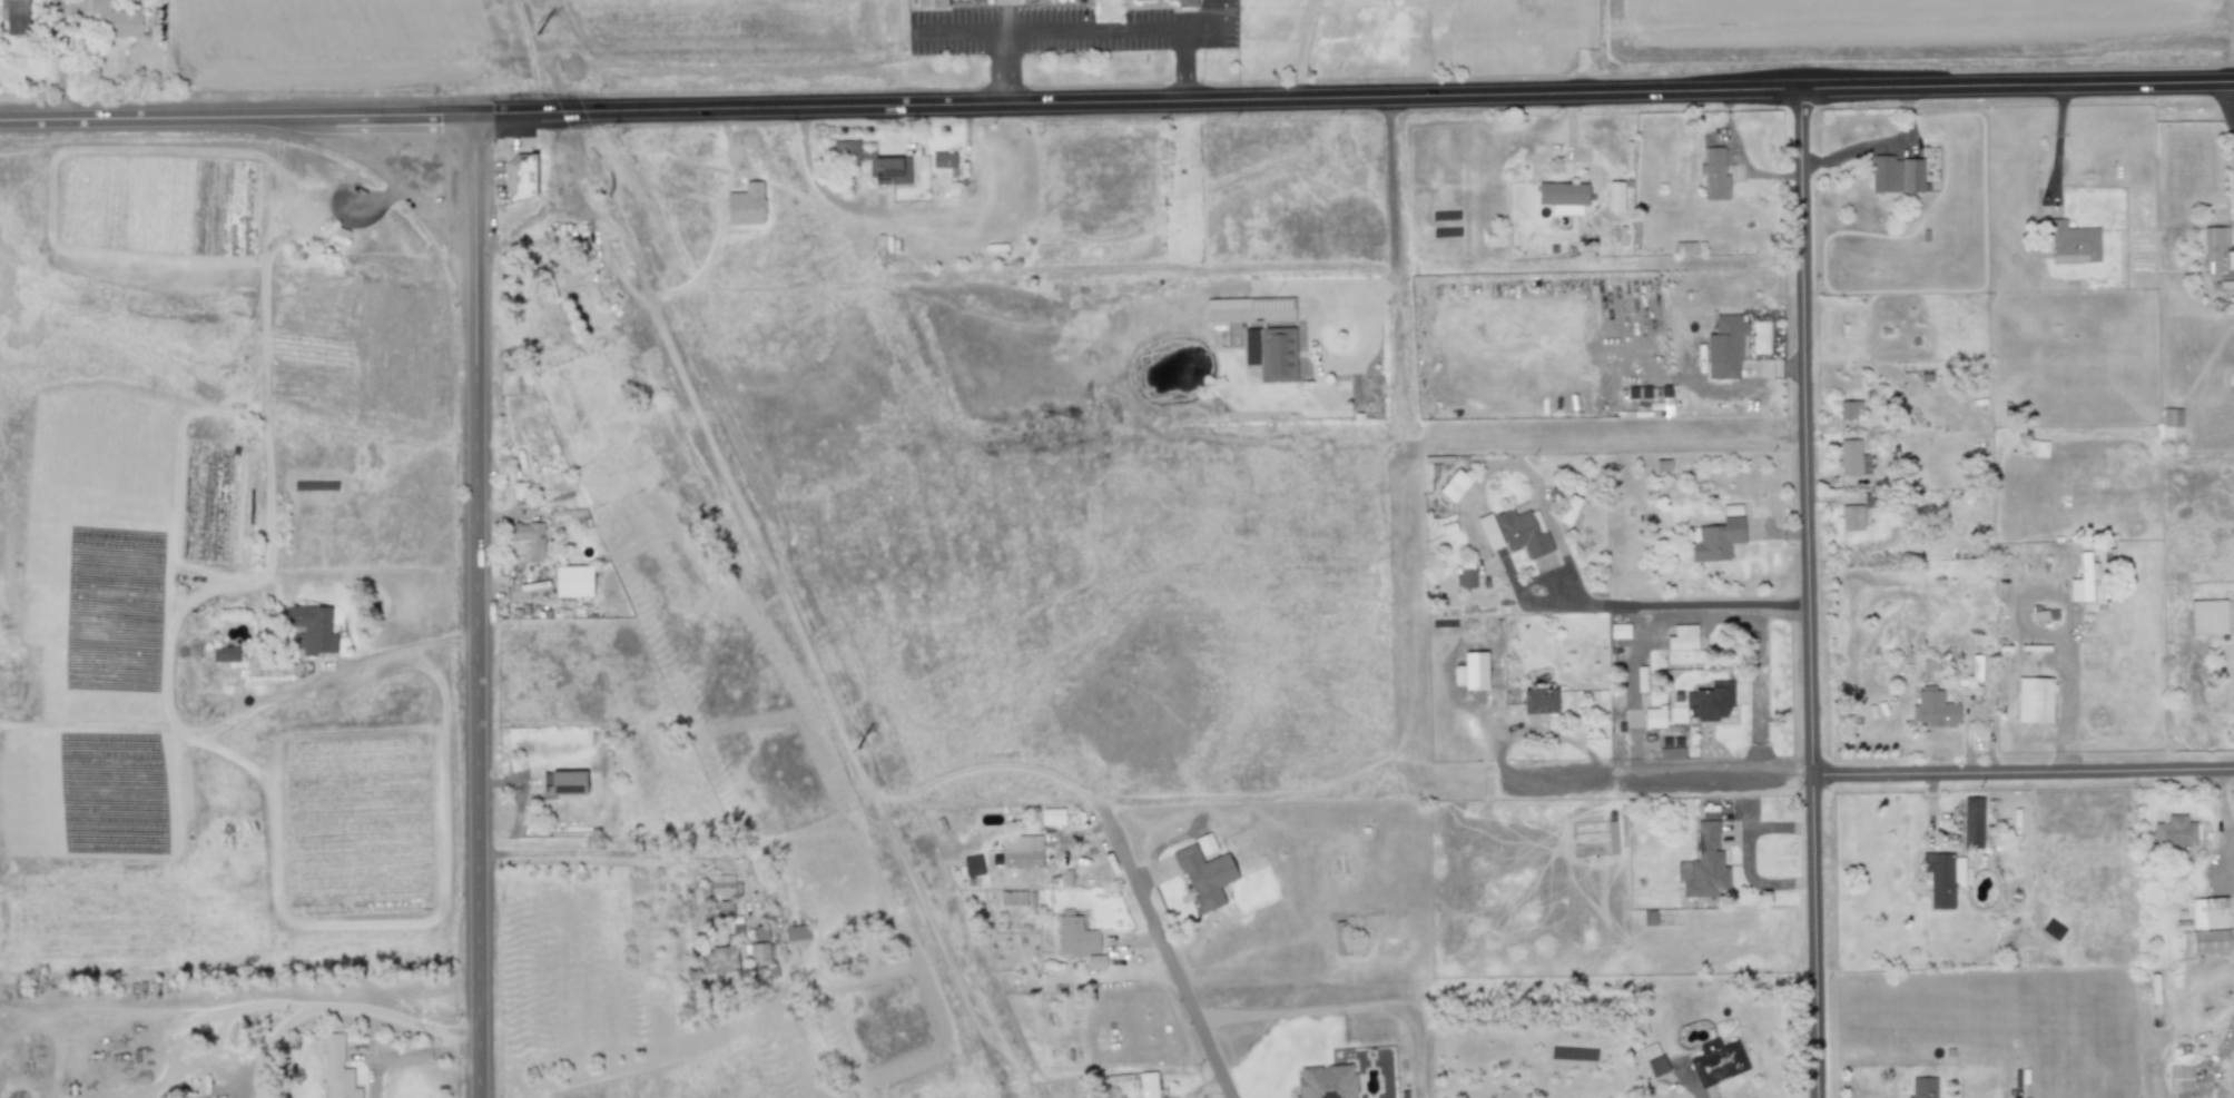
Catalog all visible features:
building: (1140, 0)
building: (931, 3)
building: (1184, 3)
road: (1003, 14)
building: (14, 17)
building: (116, 19)
road: (1096, 29)
road: (1301, 48)
road: (1004, 69)
road: (2232, 92)
road: (1354, 98)
road: (237, 118)
building: (942, 160)
building: (874, 162)
building: (1714, 172)
building: (1895, 174)
building: (521, 178)
building: (1563, 197)
road: (1391, 210)
building: (338, 235)
building: (2070, 241)
building: (2213, 247)
building: (2230, 259)
building: (1258, 333)
crop: (347, 337)
building: (1724, 347)
road: (1319, 357)
building: (1847, 408)
building: (2171, 421)
building: (1852, 458)
building: (1455, 485)
building: (1569, 510)
building: (568, 516)
building: (1851, 517)
building: (1489, 532)
building: (1523, 532)
building: (528, 538)
building: (1714, 540)
building: (1465, 577)
building: (2083, 580)
building: (571, 581)
road: (1808, 594)
road: (475, 606)
road: (1690, 606)
building: (2211, 616)
road: (1697, 617)
building: (311, 629)
building: (1618, 631)
building: (1682, 637)
road: (403, 651)
building: (224, 654)
building: (1980, 667)
building: (1472, 671)
building: (2034, 700)
building: (1538, 701)
building: (1711, 701)
building: (1933, 708)
building: (1654, 718)
road: (1538, 731)
building: (1671, 753)
road: (1874, 775)
building: (562, 782)
building: (1052, 817)
road: (2224, 818)
building: (1972, 822)
building: (2174, 831)
building: (1611, 839)
building: (1204, 844)
building: (1021, 851)
road: (560, 855)
building: (1704, 864)
building: (972, 865)
building: (1204, 876)
building: (1942, 878)
building: (721, 884)
building: (721, 908)
building: (1649, 917)
building: (2208, 926)
building: (796, 932)
building: (1075, 936)
building: (1338, 937)
building: (758, 952)
road: (1169, 958)
building: (718, 960)
building: (1094, 961)
road: (1627, 962)
road: (279, 1003)
road: (1346, 1015)
road: (2225, 1043)
building: (1650, 1050)
road: (410, 1055)
building: (1716, 1061)
building: (1657, 1066)
building: (336, 1070)
building: (2179, 1078)
building: (1326, 1081)
building: (1146, 1085)
building: (1922, 1087)

